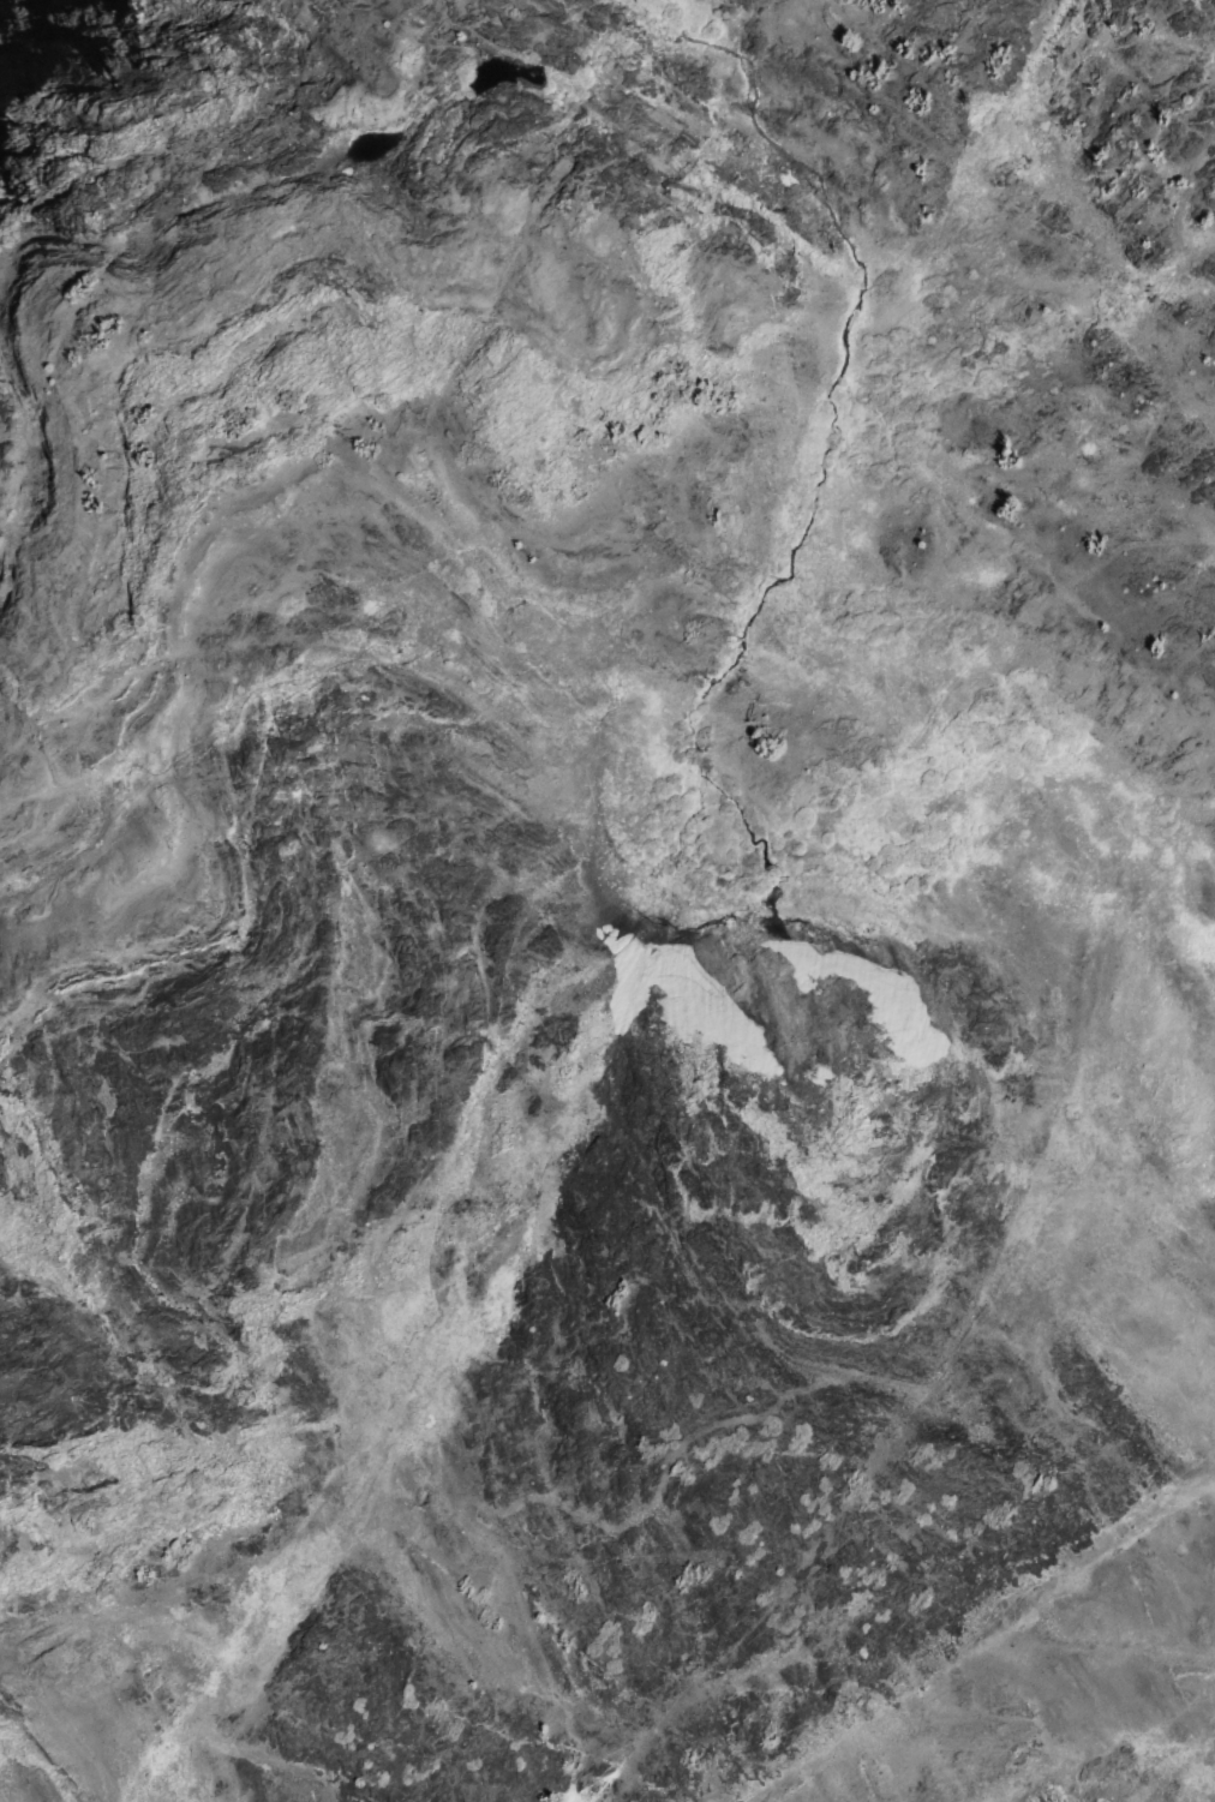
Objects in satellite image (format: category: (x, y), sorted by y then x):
road: (1169, 282)
road: (1058, 1127)

